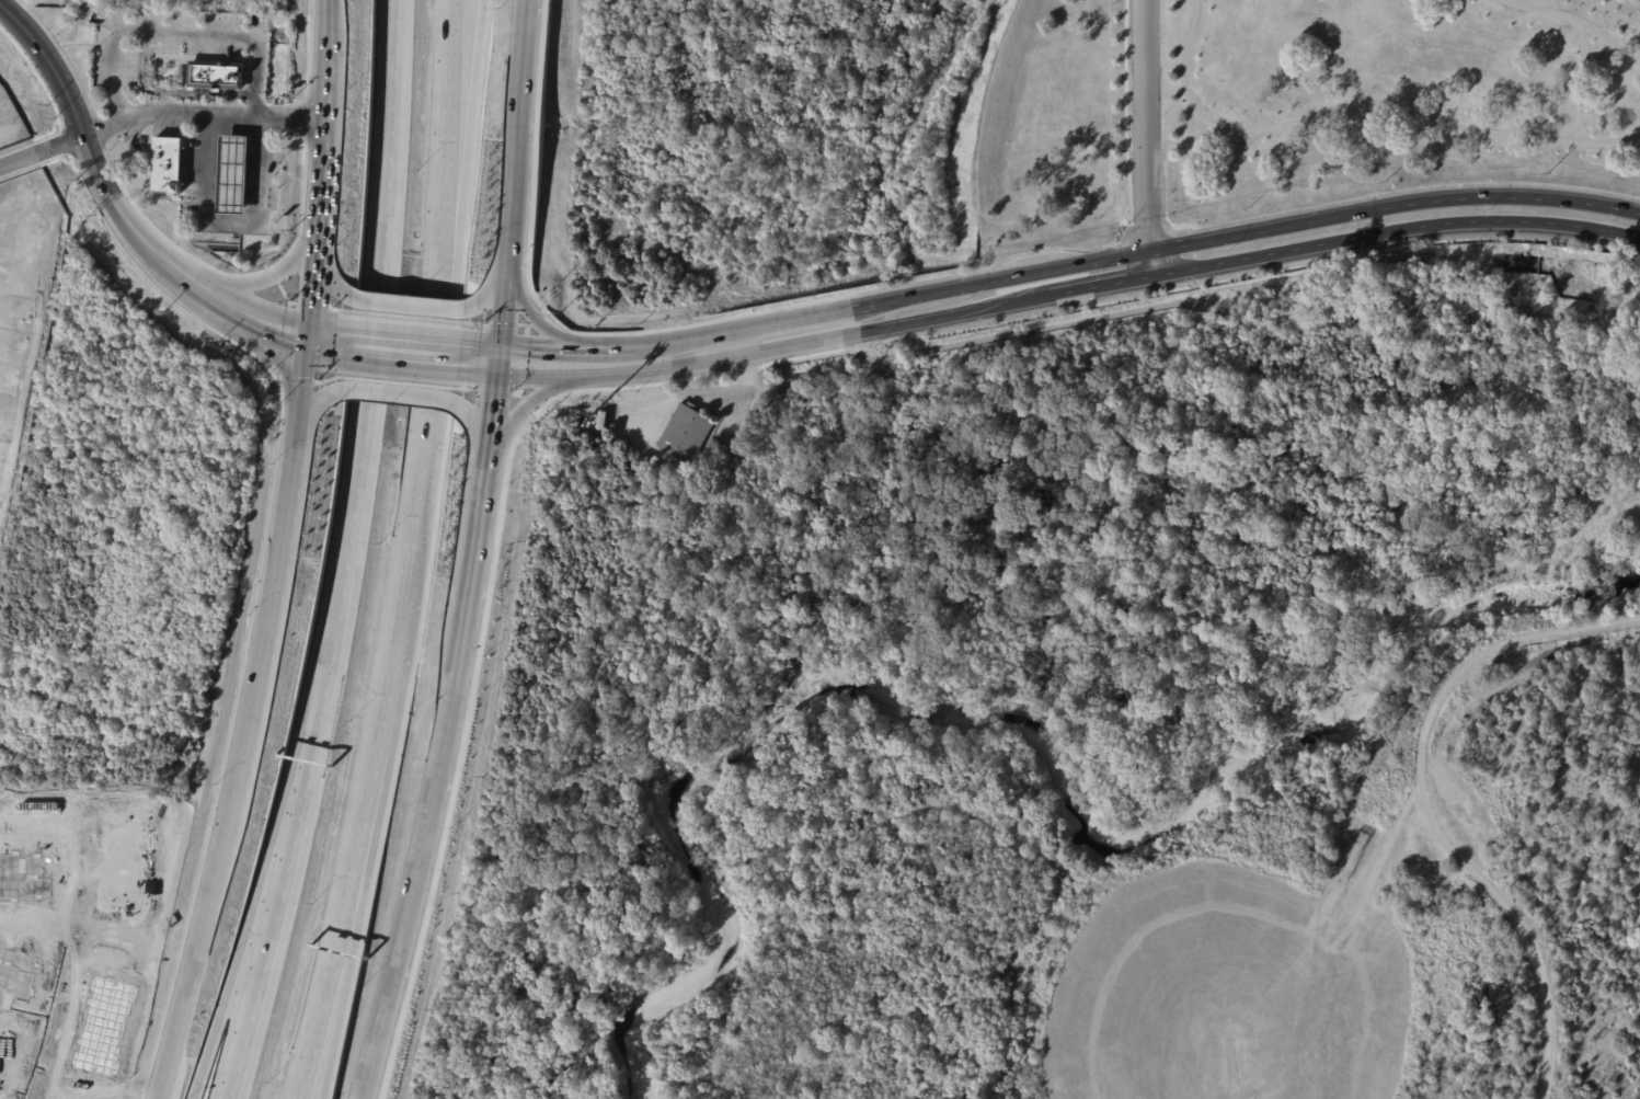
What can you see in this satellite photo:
road: (322, 16)
road: (1573, 19)
road: (179, 31)
road: (1581, 36)
road: (1601, 47)
building: (215, 76)
road: (1576, 87)
road: (170, 90)
road: (1358, 106)
road: (198, 114)
park: (1223, 117)
road: (319, 129)
road: (1569, 129)
road: (447, 131)
road: (1582, 131)
road: (468, 133)
road: (1145, 138)
road: (41, 151)
road: (213, 152)
road: (233, 152)
road: (253, 152)
road: (1125, 159)
building: (167, 165)
building: (1166, 170)
road: (213, 173)
road: (232, 173)
road: (252, 174)
building: (233, 176)
gas station: (233, 176)
road: (514, 179)
road: (100, 184)
road: (213, 195)
road: (232, 195)
road: (252, 196)
road: (1360, 198)
road: (230, 221)
road: (1147, 230)
road: (314, 239)
road: (1112, 259)
road: (267, 278)
road: (329, 279)
road: (1114, 283)
road: (493, 284)
road: (310, 294)
road: (409, 305)
road: (279, 329)
road: (379, 334)
traffic signals: (308, 335)
road: (326, 337)
road: (403, 346)
road: (482, 355)
traffic signals: (502, 357)
road: (544, 362)
road: (301, 383)
road: (399, 397)
road: (537, 398)
road: (498, 400)
road: (314, 405)
road: (477, 421)
building: (603, 422)
building: (686, 434)
building: (700, 473)
road: (489, 525)
road: (283, 527)
road: (493, 542)
road: (411, 556)
road: (1486, 650)
road: (1513, 674)
building: (1030, 680)
road: (248, 731)
parking lot: (1458, 812)
road: (424, 854)
building: (123, 857)
building: (19, 877)
road: (259, 881)
road: (282, 882)
road: (69, 921)
road: (1516, 927)
road: (34, 929)
building: (105, 958)
road: (188, 969)
road: (329, 972)
road: (347, 973)
building: (12, 984)
park: (1230, 1003)
building: (102, 1024)
road: (28, 1072)
road: (43, 1098)

